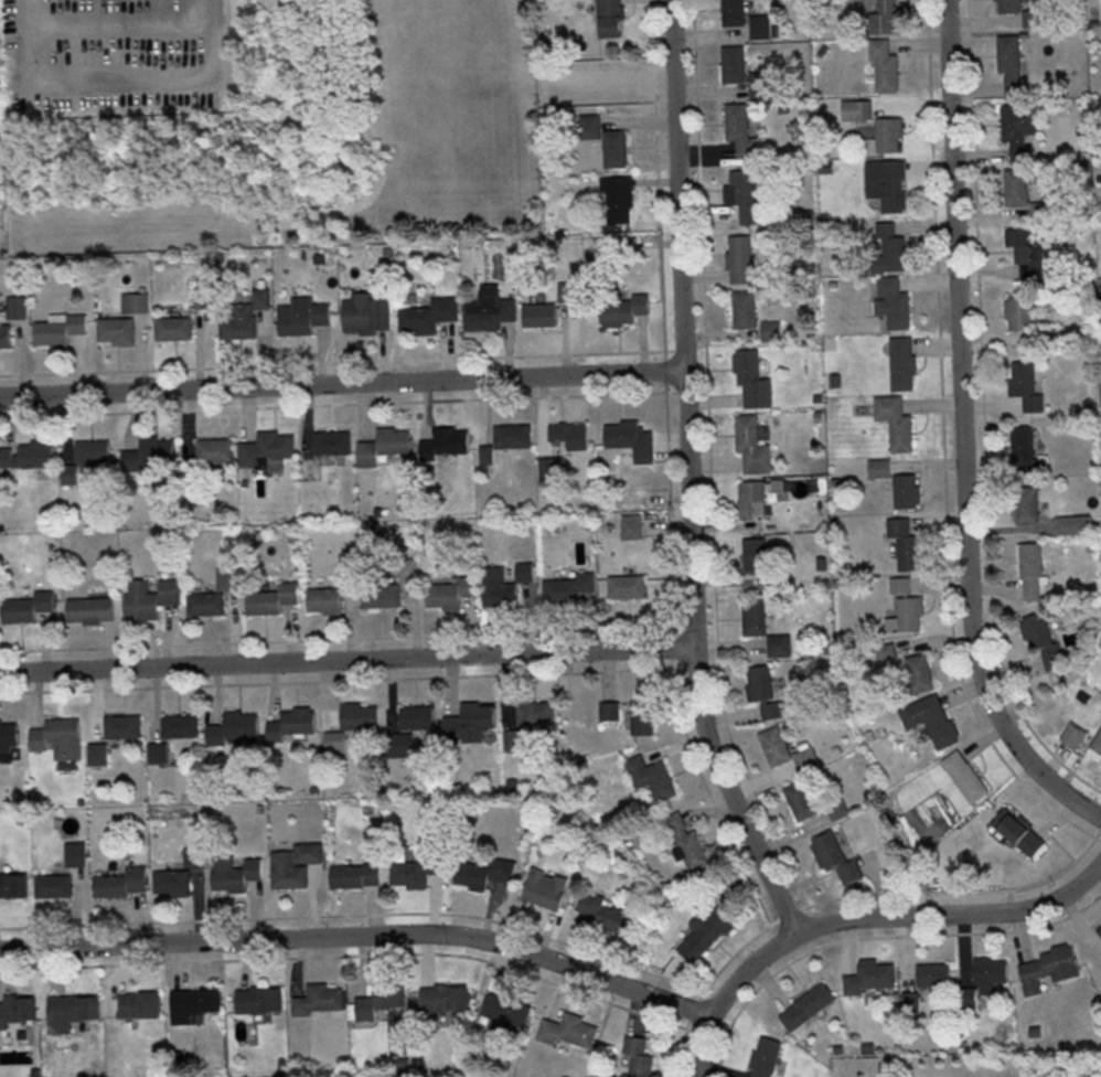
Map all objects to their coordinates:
building: (1008, 6)
building: (733, 12)
building: (610, 18)
building: (883, 18)
building: (1033, 18)
road: (118, 22)
building: (759, 25)
building: (733, 63)
building: (1011, 64)
building: (885, 65)
road: (113, 79)
building: (759, 84)
building: (856, 109)
building: (739, 128)
building: (1018, 130)
building: (888, 132)
building: (603, 139)
building: (887, 183)
building: (1016, 186)
building: (745, 195)
building: (618, 198)
building: (1038, 209)
building: (888, 247)
building: (1026, 252)
building: (739, 258)
building: (204, 297)
building: (135, 301)
building: (892, 301)
building: (15, 306)
building: (744, 308)
building: (489, 309)
building: (624, 309)
building: (1018, 311)
building: (367, 312)
building: (539, 313)
building: (428, 314)
building: (245, 316)
building: (302, 316)
building: (173, 327)
building: (58, 328)
building: (117, 330)
building: (771, 330)
building: (4, 335)
building: (901, 362)
building: (751, 378)
road: (342, 383)
building: (1025, 384)
building: (895, 422)
road: (962, 433)
building: (570, 434)
building: (513, 435)
building: (630, 438)
building: (332, 441)
building: (445, 441)
building: (751, 444)
building: (384, 445)
building: (215, 449)
building: (267, 450)
building: (1025, 450)
building: (94, 455)
building: (150, 455)
building: (26, 456)
building: (548, 466)
building: (879, 467)
building: (70, 473)
road: (690, 477)
building: (905, 490)
building: (751, 499)
building: (1026, 503)
building: (1072, 523)
building: (631, 525)
building: (905, 542)
building: (753, 554)
building: (409, 567)
building: (1030, 568)
building: (349, 571)
building: (524, 571)
building: (228, 578)
building: (627, 585)
building: (499, 587)
building: (568, 587)
building: (450, 593)
building: (382, 595)
building: (150, 596)
building: (272, 598)
building: (325, 599)
building: (206, 603)
building: (28, 606)
building: (904, 606)
building: (90, 609)
building: (753, 615)
building: (1041, 639)
building: (780, 643)
building: (886, 650)
road: (348, 660)
building: (918, 671)
building: (763, 690)
building: (609, 711)
building: (535, 712)
building: (360, 714)
building: (417, 716)
building: (641, 716)
building: (930, 718)
building: (470, 722)
building: (292, 724)
building: (124, 725)
building: (181, 725)
building: (234, 726)
building: (1072, 734)
building: (8, 735)
building: (58, 737)
building: (513, 738)
building: (335, 740)
building: (400, 744)
building: (774, 745)
building: (1094, 746)
building: (159, 751)
building: (98, 754)
building: (805, 757)
building: (651, 776)
building: (964, 776)
building: (800, 799)
building: (837, 808)
building: (1018, 831)
building: (685, 842)
building: (75, 853)
building: (194, 856)
building: (834, 856)
building: (293, 863)
building: (413, 871)
building: (484, 872)
building: (236, 874)
building: (355, 874)
building: (121, 882)
building: (172, 882)
building: (13, 884)
building: (53, 885)
building: (545, 887)
building: (602, 910)
road: (863, 916)
building: (1099, 929)
building: (704, 934)
road: (362, 936)
building: (1048, 968)
building: (990, 972)
building: (933, 973)
building: (868, 975)
building: (968, 995)
building: (445, 996)
building: (259, 999)
building: (319, 999)
building: (381, 999)
building: (909, 1001)
building: (194, 1003)
building: (140, 1004)
building: (806, 1005)
building: (18, 1009)
building: (507, 1010)
building: (72, 1011)
building: (567, 1031)
building: (637, 1056)
building: (765, 1056)

